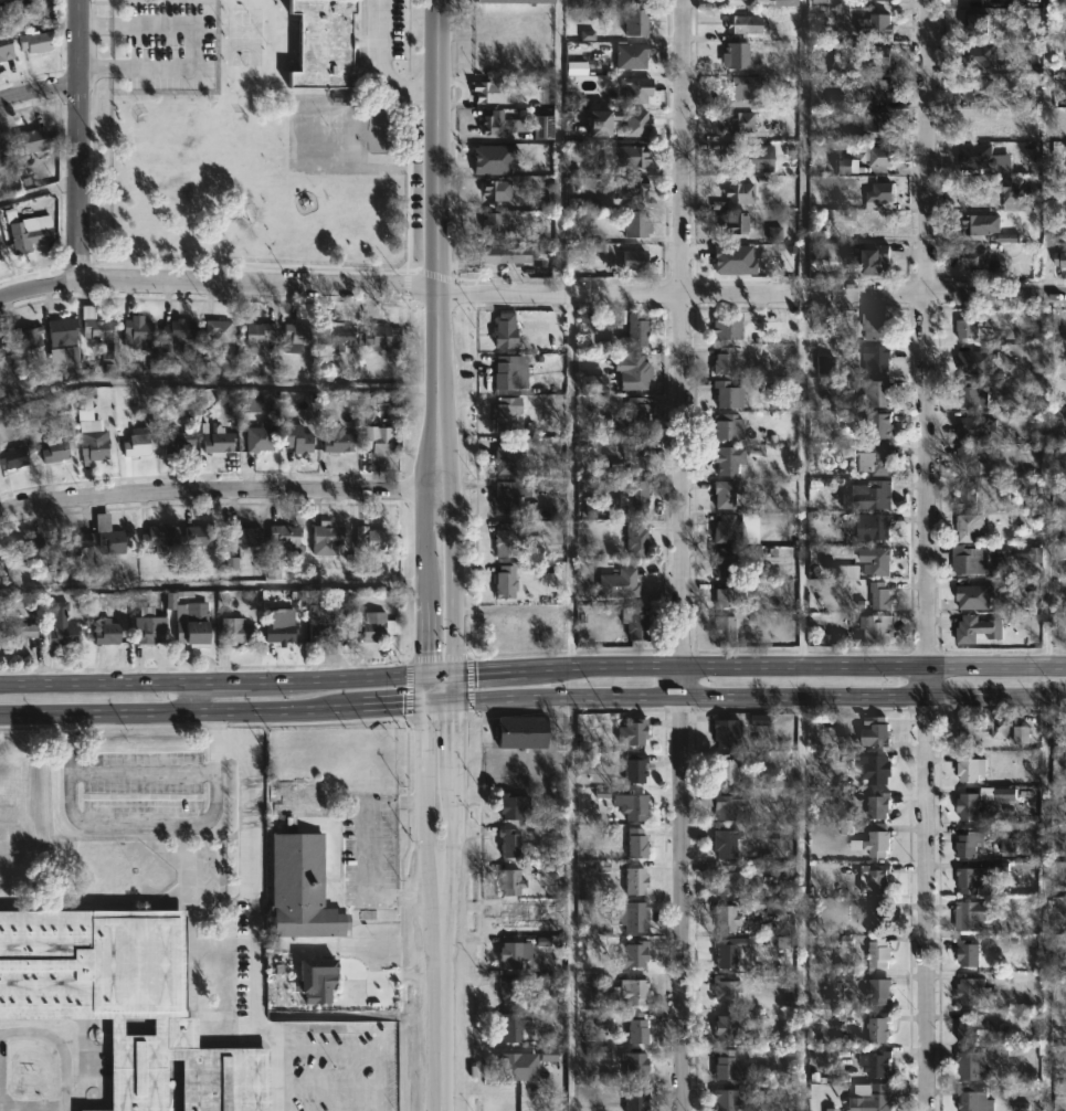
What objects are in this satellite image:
building: (747, 0)
building: (514, 1)
building: (878, 1)
building: (635, 2)
building: (820, 2)
building: (784, 3)
building: (636, 22)
building: (979, 23)
building: (746, 24)
building: (876, 24)
building: (34, 42)
building: (323, 43)
building: (3, 45)
road: (193, 46)
building: (979, 54)
building: (631, 55)
building: (736, 55)
building: (873, 56)
road: (381, 65)
building: (635, 88)
building: (876, 89)
building: (979, 89)
building: (742, 92)
road: (38, 94)
building: (488, 98)
building: (188, 99)
building: (736, 121)
building: (878, 121)
building: (503, 125)
building: (637, 125)
building: (541, 127)
building: (31, 139)
road: (77, 140)
building: (2, 148)
road: (557, 148)
building: (627, 156)
building: (979, 156)
building: (750, 157)
building: (879, 157)
building: (0, 163)
road: (38, 188)
building: (632, 188)
building: (494, 189)
building: (326, 190)
building: (1017, 191)
building: (740, 192)
building: (882, 193)
building: (275, 198)
road: (437, 203)
building: (738, 223)
building: (635, 224)
building: (982, 224)
building: (492, 225)
building: (28, 234)
building: (1, 253)
building: (505, 254)
building: (0, 257)
building: (974, 257)
building: (631, 260)
building: (876, 260)
building: (1062, 260)
road: (257, 284)
road: (38, 287)
road: (751, 295)
building: (970, 325)
building: (727, 327)
building: (877, 327)
building: (219, 330)
building: (505, 330)
building: (635, 330)
building: (135, 331)
building: (64, 332)
building: (175, 334)
building: (257, 334)
building: (101, 335)
building: (296, 336)
building: (27, 337)
building: (337, 337)
building: (378, 337)
building: (2, 349)
building: (877, 359)
building: (724, 361)
building: (824, 367)
building: (632, 371)
building: (509, 372)
road: (217, 382)
building: (877, 393)
building: (971, 394)
building: (727, 395)
building: (251, 402)
building: (506, 413)
building: (636, 414)
building: (880, 427)
building: (728, 428)
building: (261, 437)
building: (94, 440)
building: (295, 440)
building: (337, 440)
building: (176, 441)
building: (378, 441)
building: (136, 443)
building: (217, 444)
building: (54, 451)
building: (638, 455)
building: (506, 456)
building: (13, 457)
building: (728, 459)
building: (872, 459)
building: (973, 462)
road: (802, 480)
road: (569, 483)
road: (450, 487)
road: (212, 493)
building: (971, 494)
building: (724, 495)
building: (508, 496)
building: (868, 496)
building: (636, 498)
building: (972, 526)
building: (874, 528)
building: (725, 529)
building: (199, 536)
building: (245, 536)
building: (157, 537)
building: (284, 537)
building: (325, 538)
building: (370, 539)
building: (635, 539)
building: (110, 541)
building: (508, 542)
building: (74, 546)
building: (27, 550)
road: (686, 554)
road: (426, 555)
road: (928, 555)
building: (988, 557)
building: (724, 562)
building: (879, 563)
building: (505, 582)
building: (618, 584)
building: (727, 595)
building: (882, 596)
building: (556, 617)
building: (325, 618)
road: (452, 622)
building: (634, 623)
building: (191, 625)
building: (61, 626)
building: (149, 626)
building: (278, 626)
building: (374, 626)
building: (509, 626)
building: (724, 628)
building: (980, 628)
building: (878, 629)
building: (234, 633)
building: (17, 634)
building: (107, 634)
road: (758, 667)
road: (439, 675)
traffic signals: (452, 675)
traffic signals: (426, 676)
road: (348, 678)
road: (230, 681)
road: (95, 683)
road: (451, 690)
road: (758, 695)
road: (190, 697)
road: (437, 706)
traffic signals: (451, 706)
road: (389, 707)
traffic signals: (425, 707)
road: (176, 711)
building: (633, 730)
building: (877, 730)
building: (984, 730)
building: (725, 731)
road: (222, 732)
building: (523, 733)
building: (1022, 736)
road: (451, 743)
road: (528, 755)
road: (134, 763)
building: (725, 766)
building: (636, 768)
building: (974, 768)
building: (877, 769)
building: (880, 804)
building: (632, 805)
building: (731, 805)
building: (516, 806)
building: (969, 807)
road: (428, 814)
road: (450, 828)
building: (876, 840)
building: (509, 842)
building: (636, 842)
building: (971, 842)
building: (727, 845)
building: (875, 878)
building: (727, 879)
building: (510, 880)
building: (635, 880)
building: (971, 880)
building: (302, 887)
road: (446, 898)
road: (1045, 901)
road: (802, 902)
road: (569, 906)
building: (774, 906)
road: (253, 909)
building: (633, 916)
building: (972, 916)
building: (508, 918)
building: (728, 918)
building: (880, 918)
building: (553, 948)
building: (965, 951)
building: (633, 953)
building: (727, 953)
building: (879, 953)
building: (509, 954)
building: (320, 986)
building: (725, 990)
building: (972, 990)
building: (509, 991)
building: (635, 991)
building: (879, 991)
building: (125, 1002)
road: (445, 1015)
building: (879, 1025)
building: (725, 1027)
building: (971, 1027)
building: (509, 1028)
building: (638, 1028)
road: (360, 1046)
building: (545, 1050)
building: (876, 1062)
building: (510, 1065)
building: (635, 1065)
building: (974, 1066)
building: (730, 1067)
road: (278, 1077)
building: (875, 1097)
building: (977, 1098)
building: (636, 1099)
building: (726, 1100)

